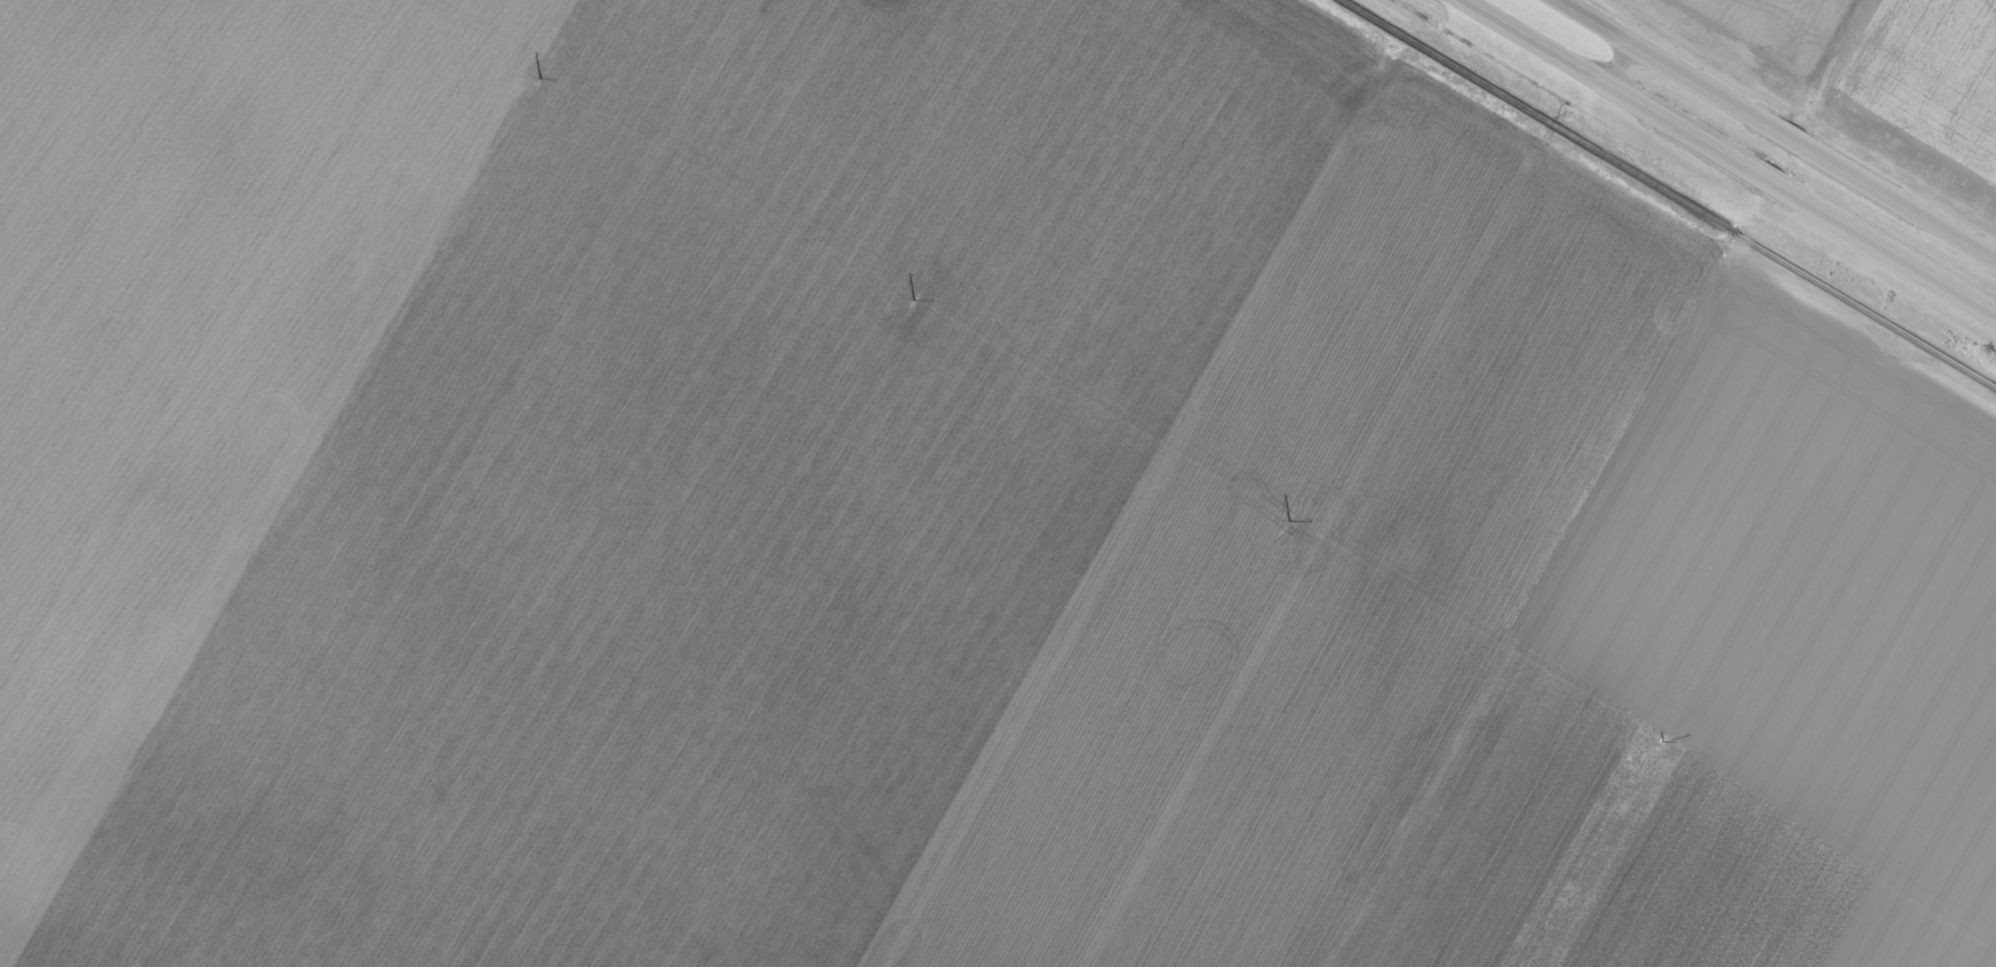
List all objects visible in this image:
power tower: (539, 79)
road: (1773, 130)
road: (1727, 157)
railway: (1669, 193)
power tower: (913, 300)
power tower: (1287, 522)
power tower: (1662, 743)

